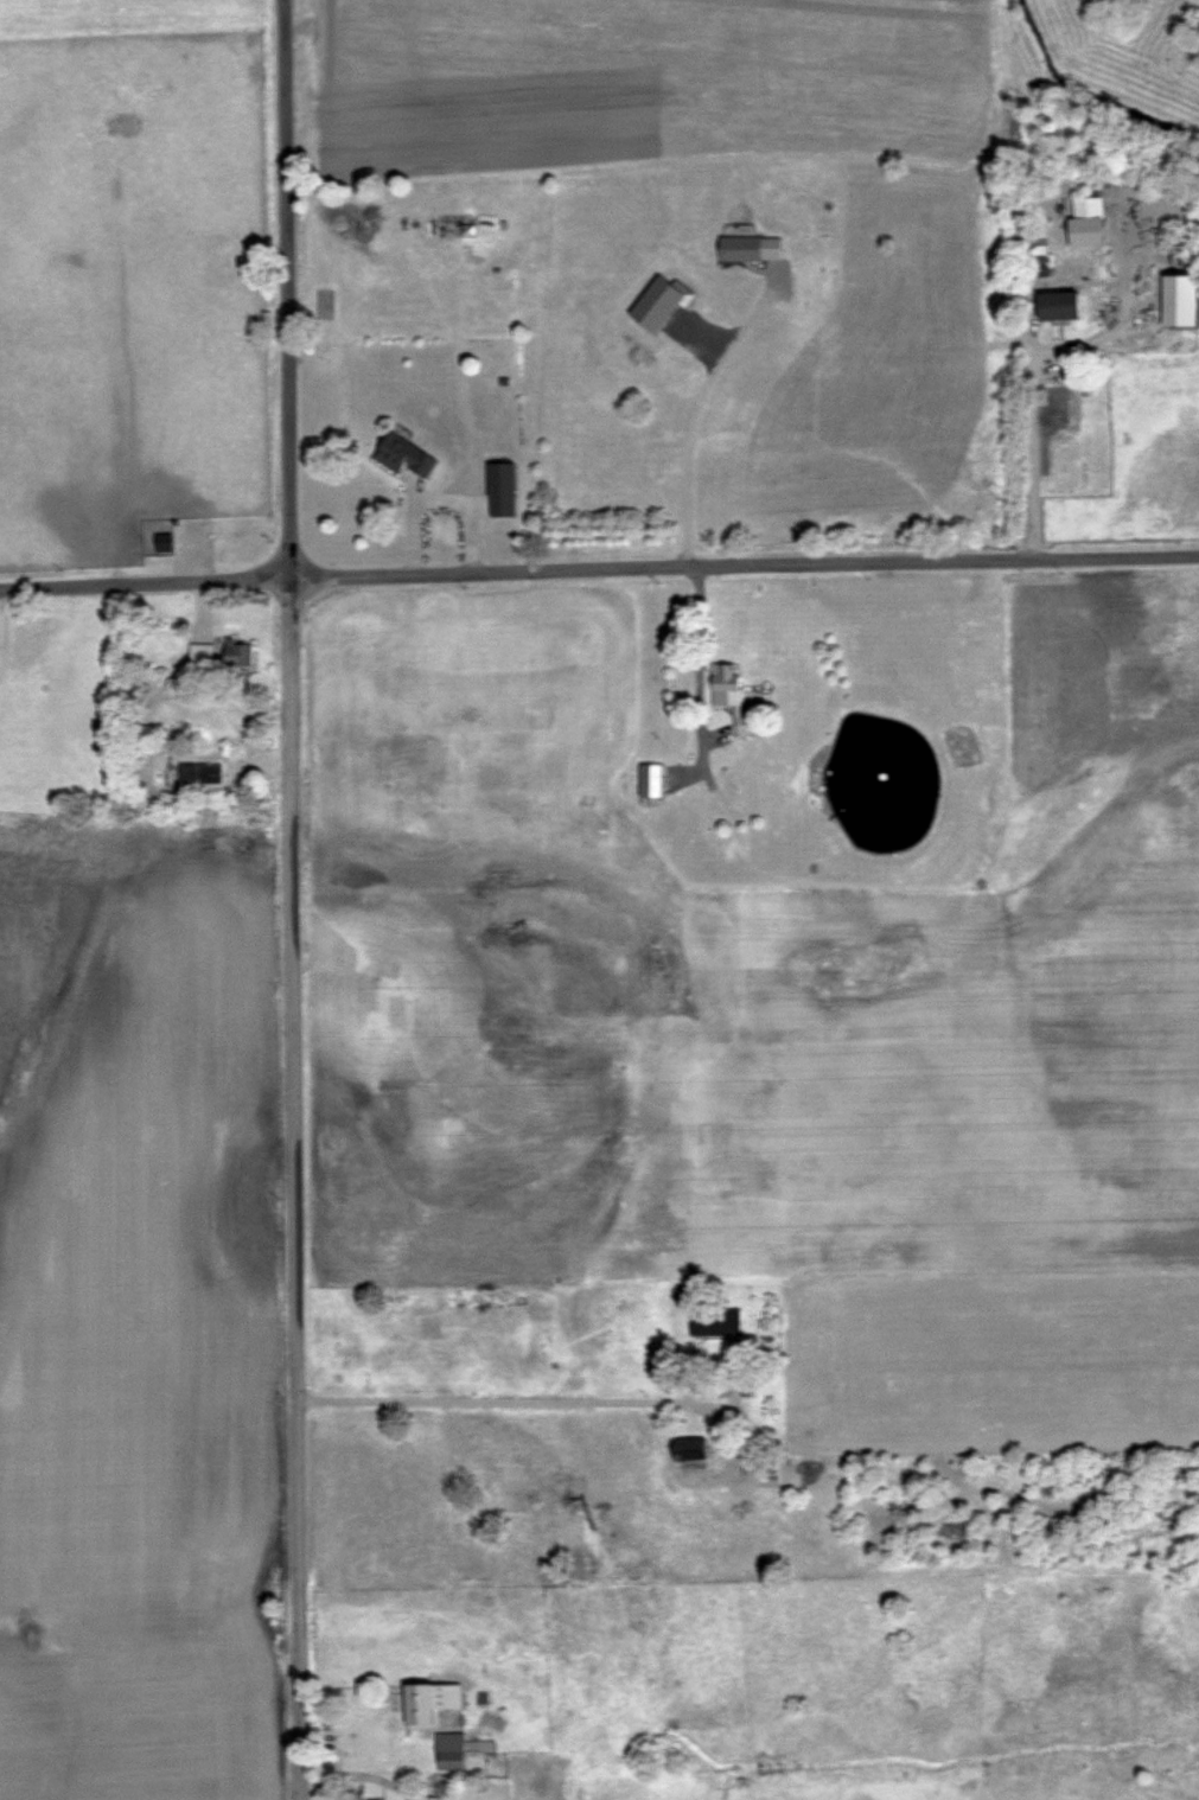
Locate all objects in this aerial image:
building: (467, 225)
building: (750, 248)
road: (285, 286)
building: (1179, 300)
building: (1058, 305)
road: (690, 410)
building: (403, 455)
road: (1034, 458)
building: (500, 489)
road: (439, 503)
building: (164, 542)
road: (599, 562)
road: (1, 614)
building: (238, 653)
building: (200, 655)
road: (700, 671)
building: (731, 695)
building: (199, 773)
building: (650, 780)
road: (287, 1186)
building: (714, 1321)
road: (707, 1378)
road: (485, 1404)
building: (694, 1453)
building: (449, 1750)
road: (357, 1768)

